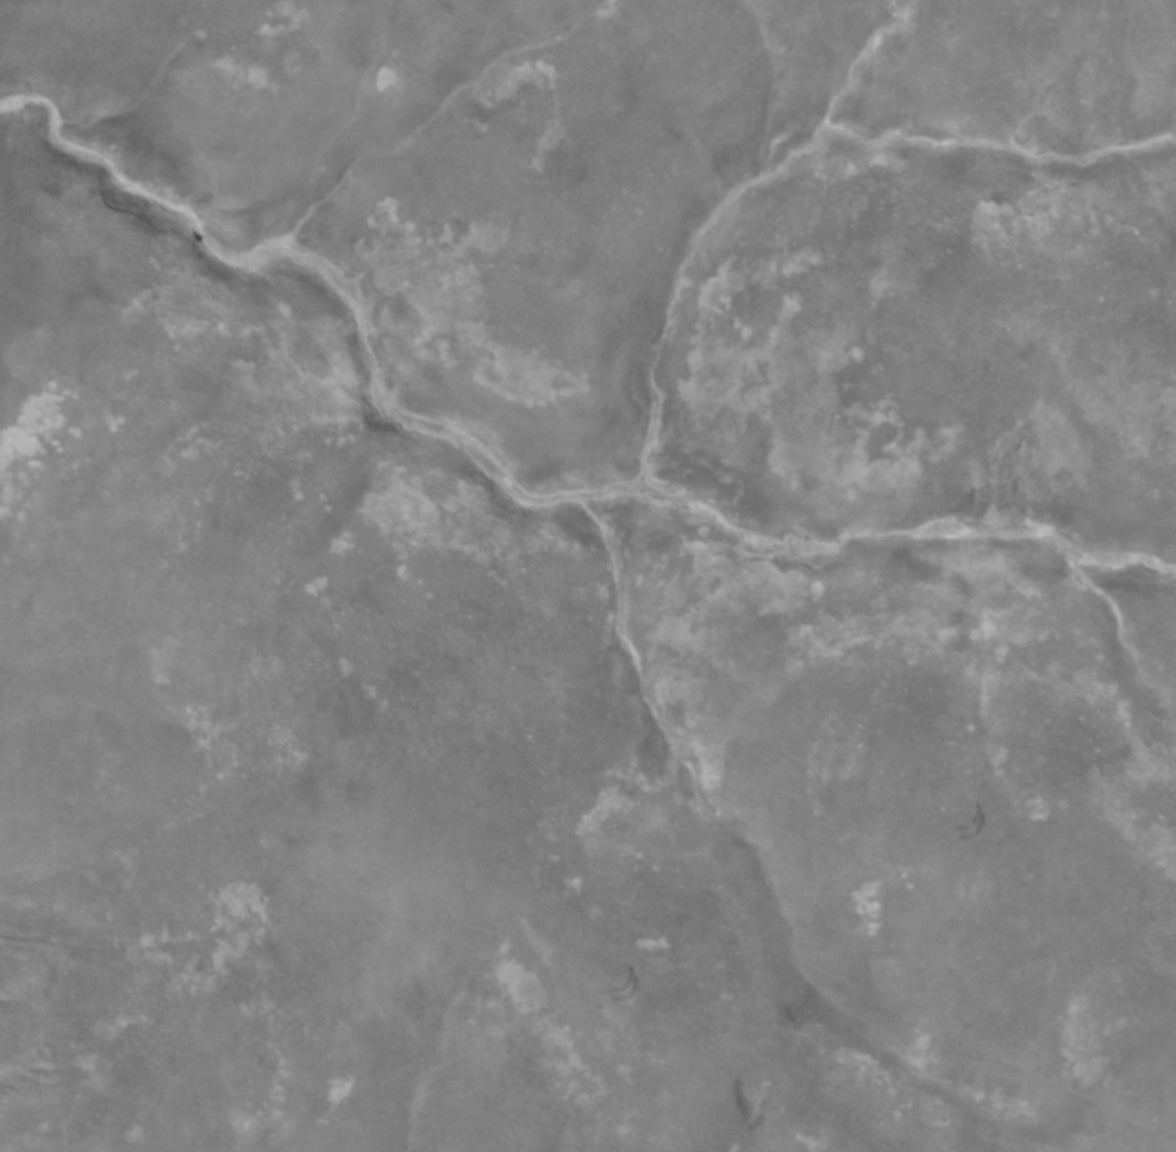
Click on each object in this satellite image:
power tower: (969, 832)
power tower: (624, 993)

